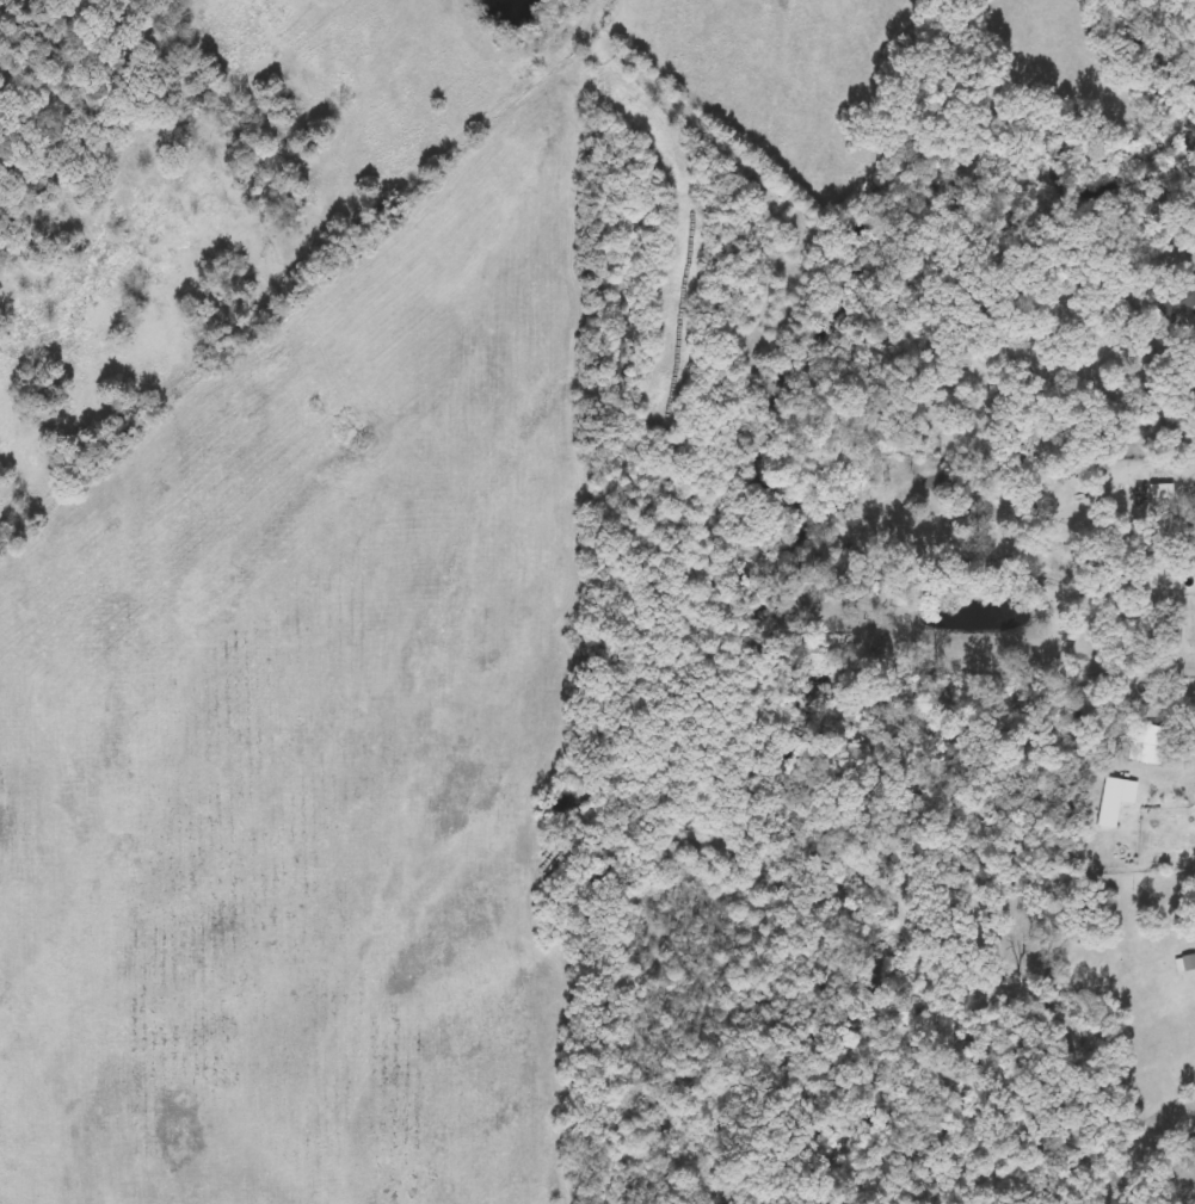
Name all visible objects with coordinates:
building: (1194, 270)
road: (1185, 315)
building: (1049, 523)
building: (1156, 745)
building: (1189, 964)
road: (1179, 1110)

